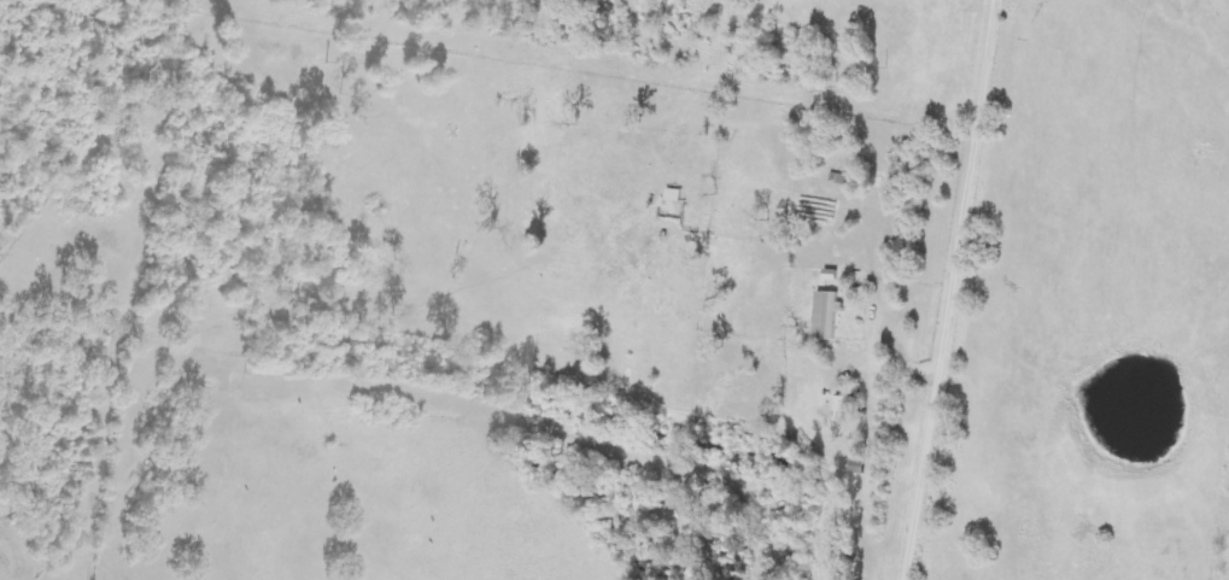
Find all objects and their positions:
road: (960, 289)
building: (826, 316)
building: (841, 409)

